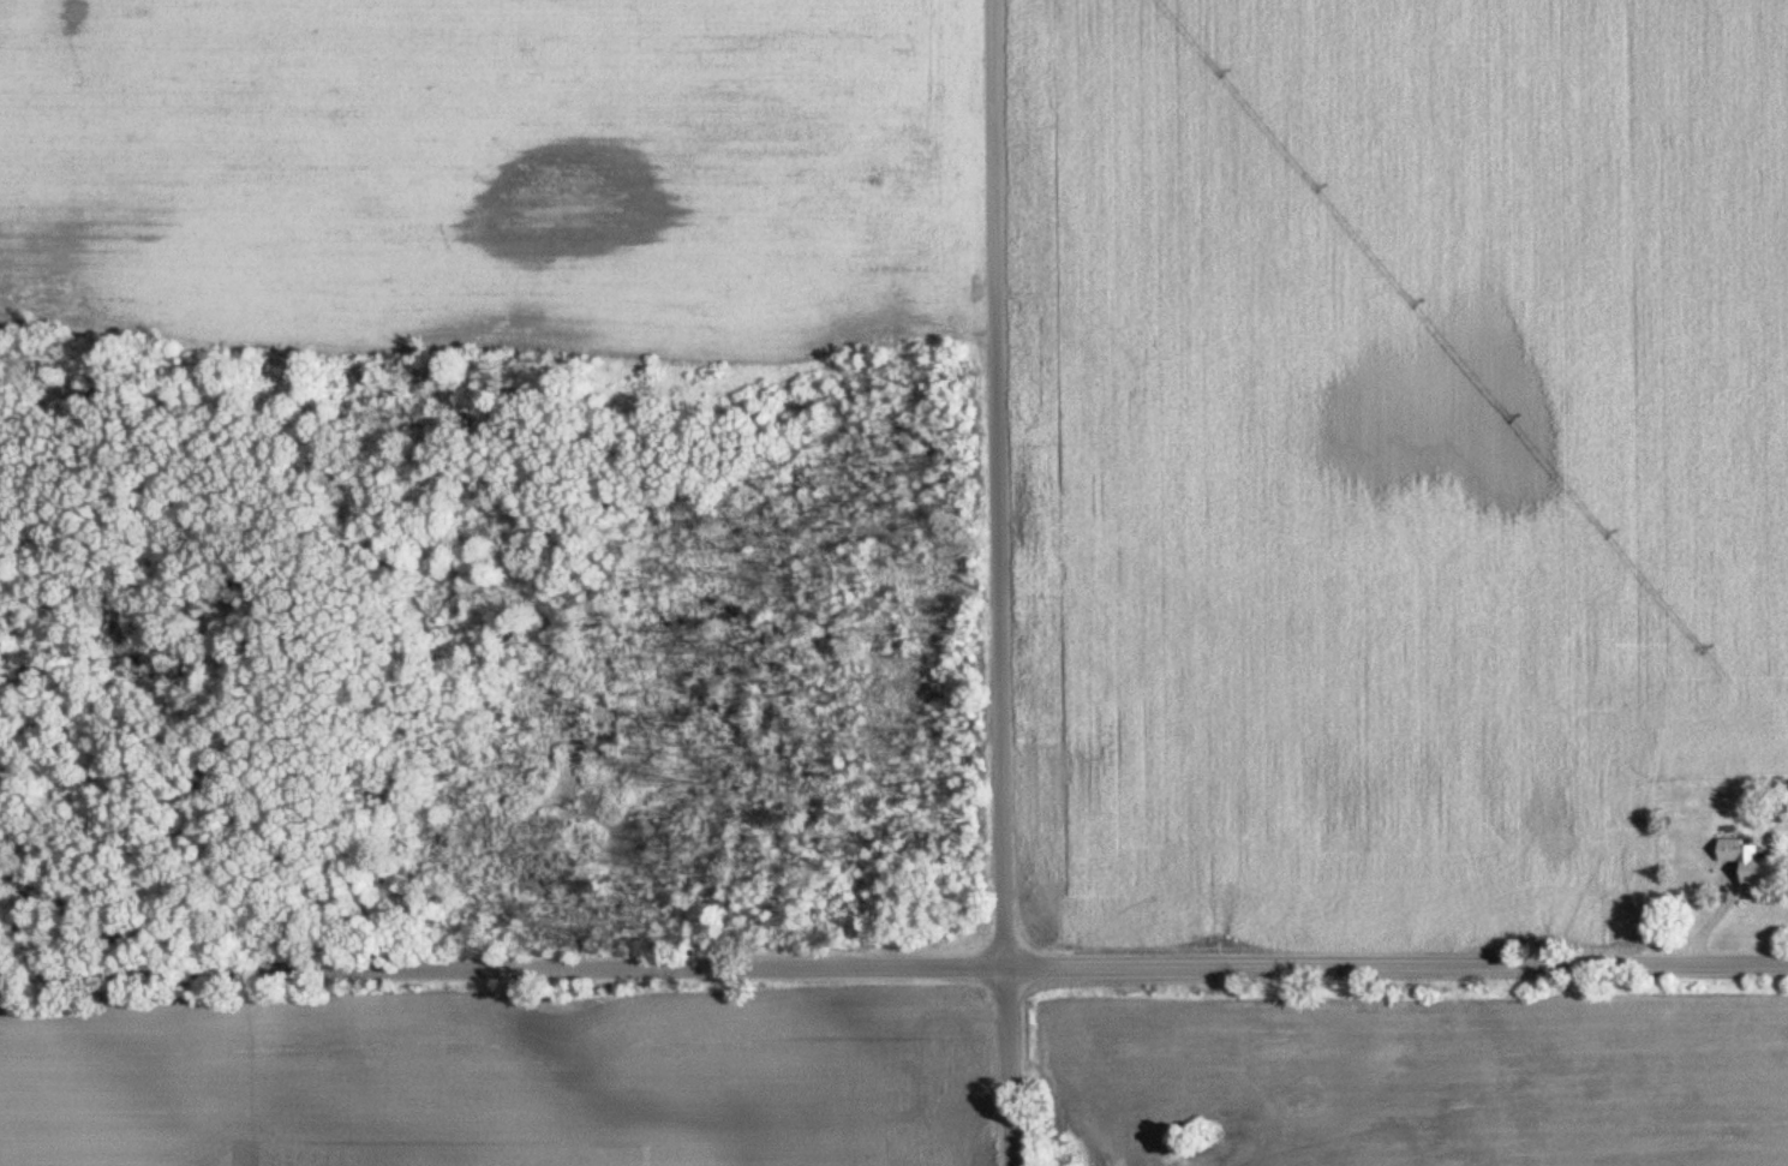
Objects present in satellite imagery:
road: (998, 582)
building: (1756, 863)
road: (893, 964)

